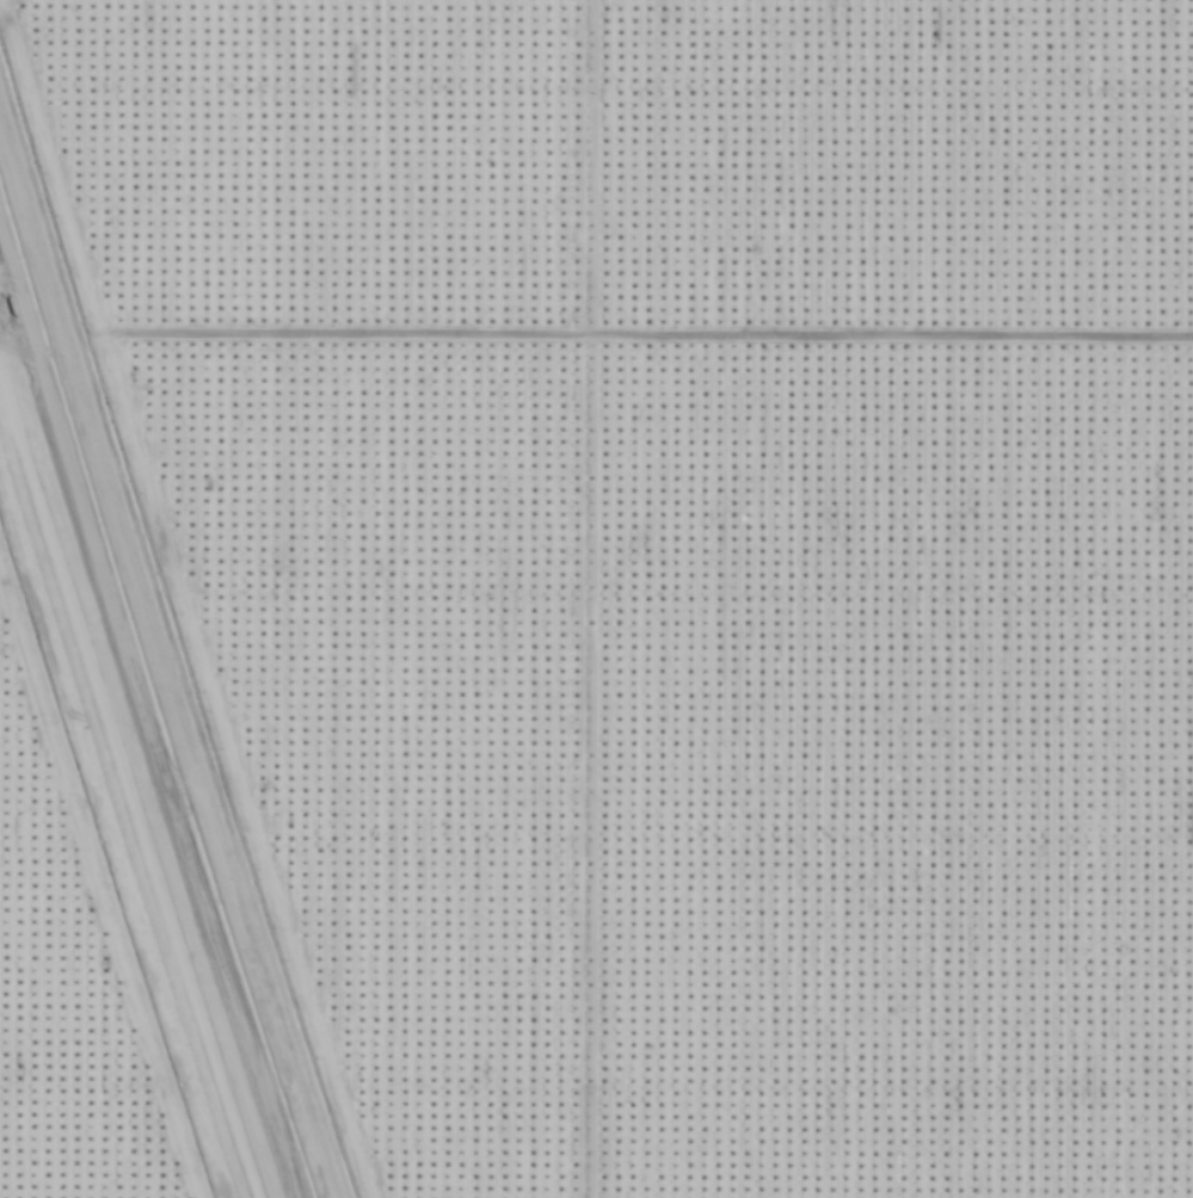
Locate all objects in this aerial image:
road: (645, 339)
railway: (131, 789)
railway: (125, 807)

